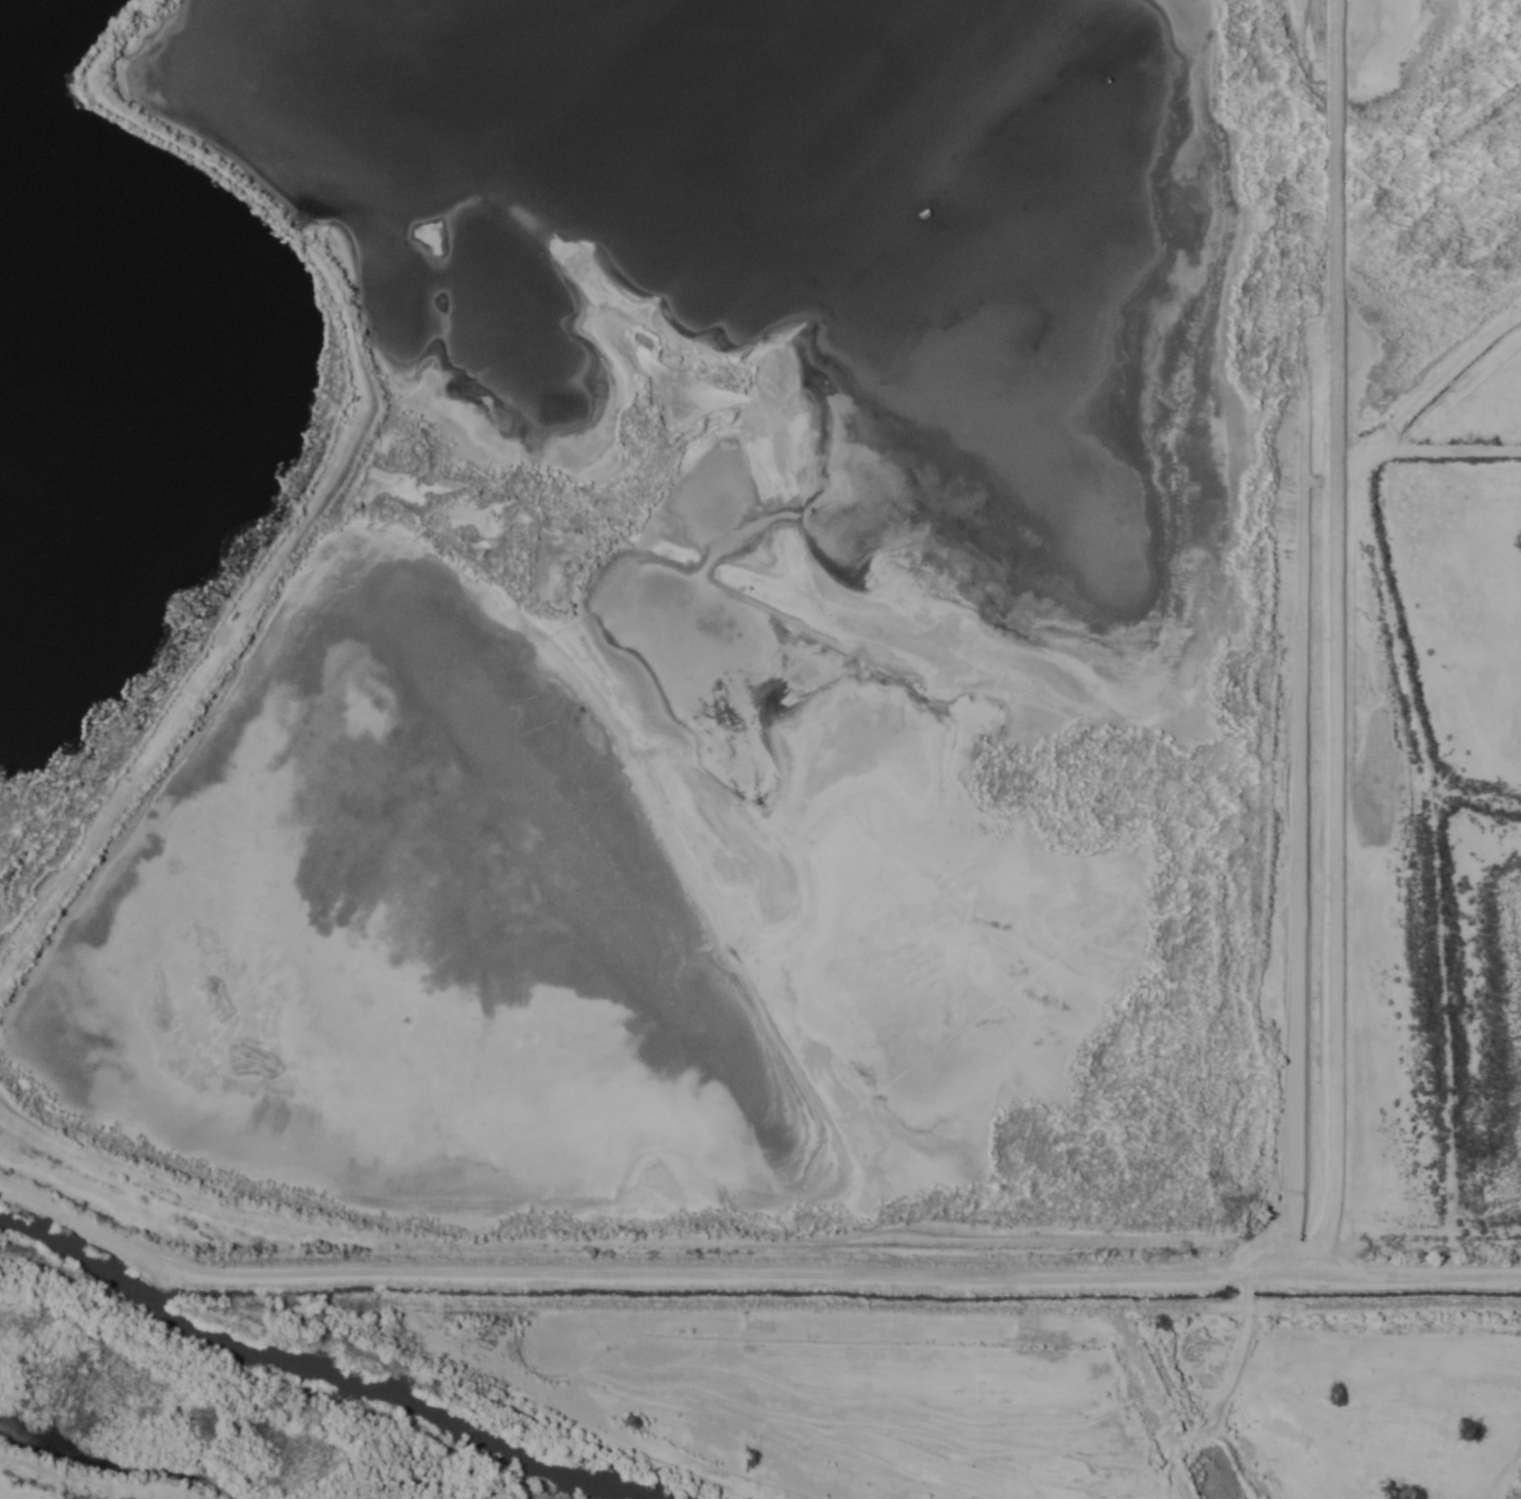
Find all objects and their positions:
road: (754, 1266)
river: (329, 1379)

